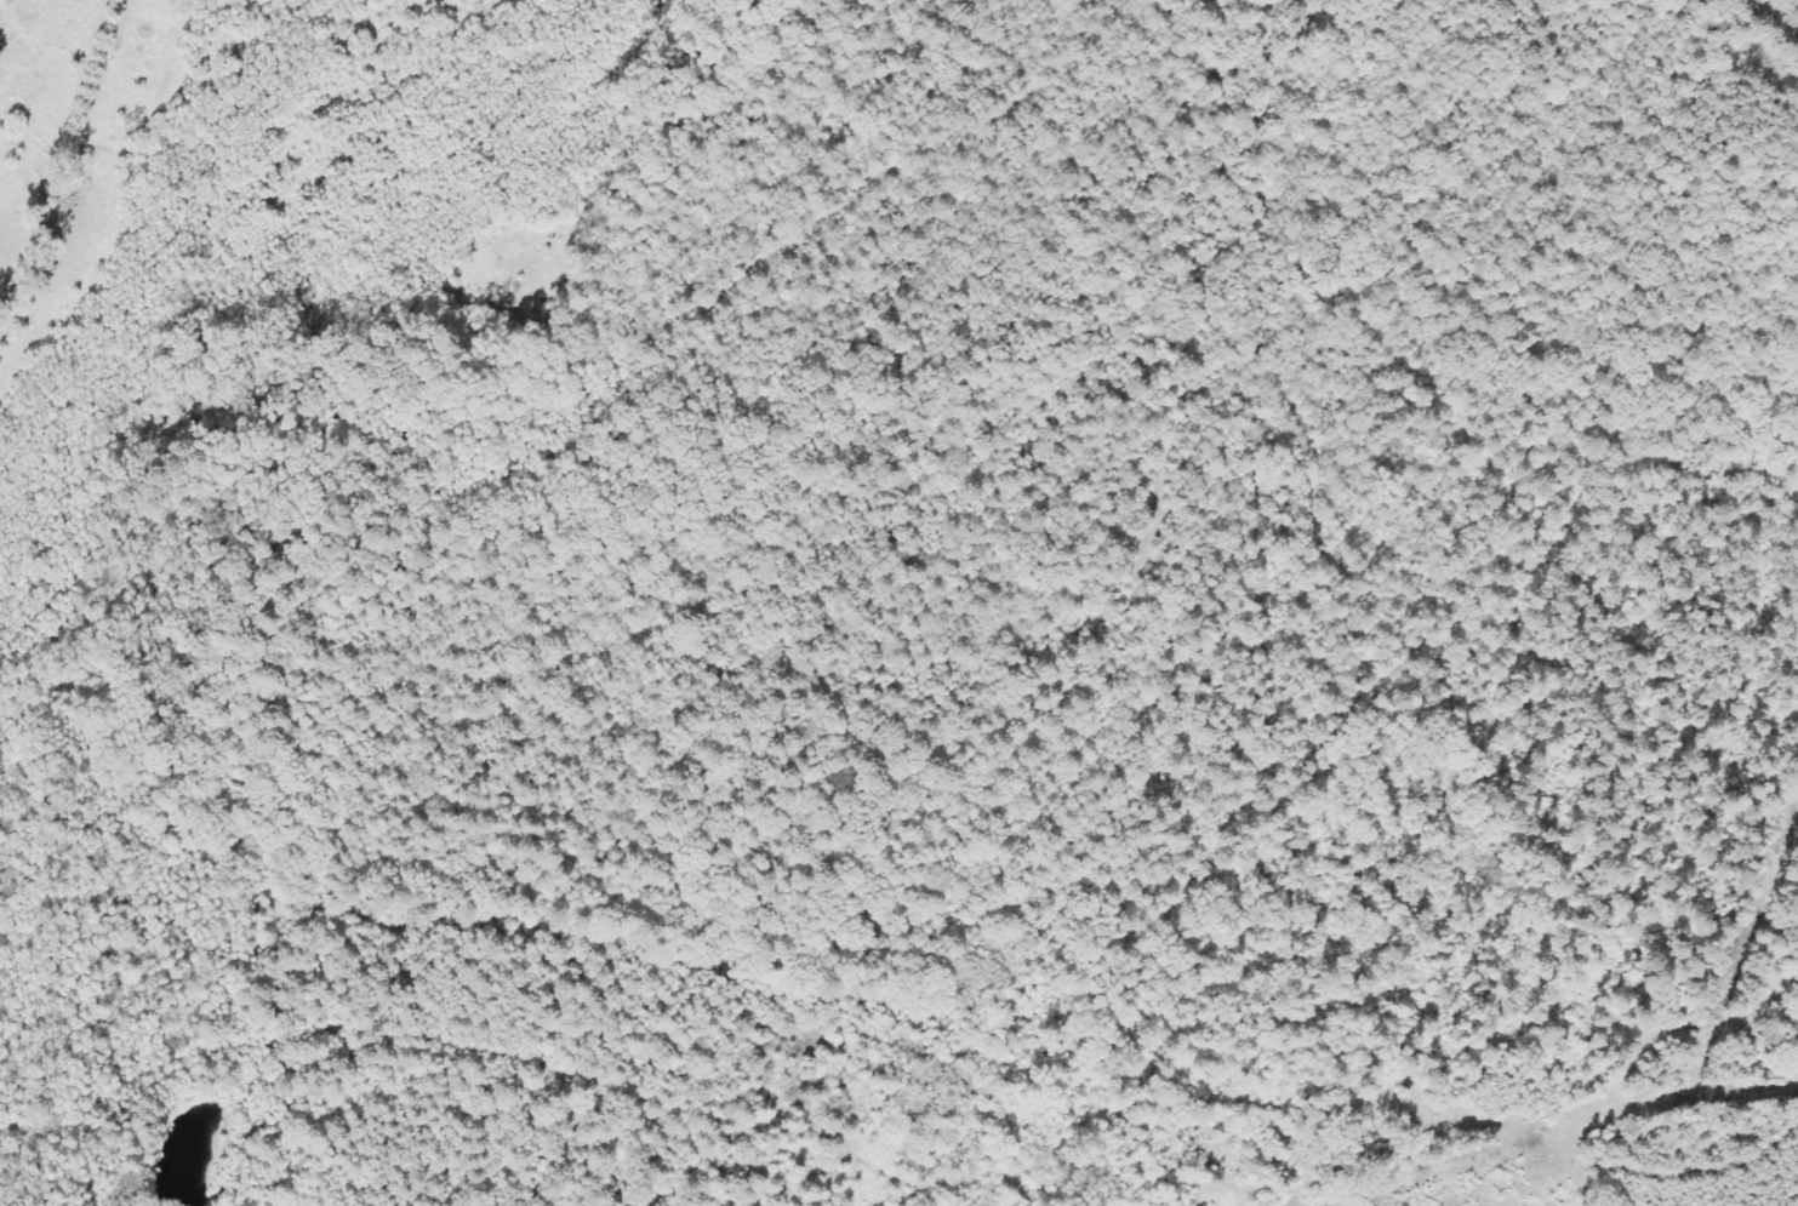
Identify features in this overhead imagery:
road: (1769, 17)

